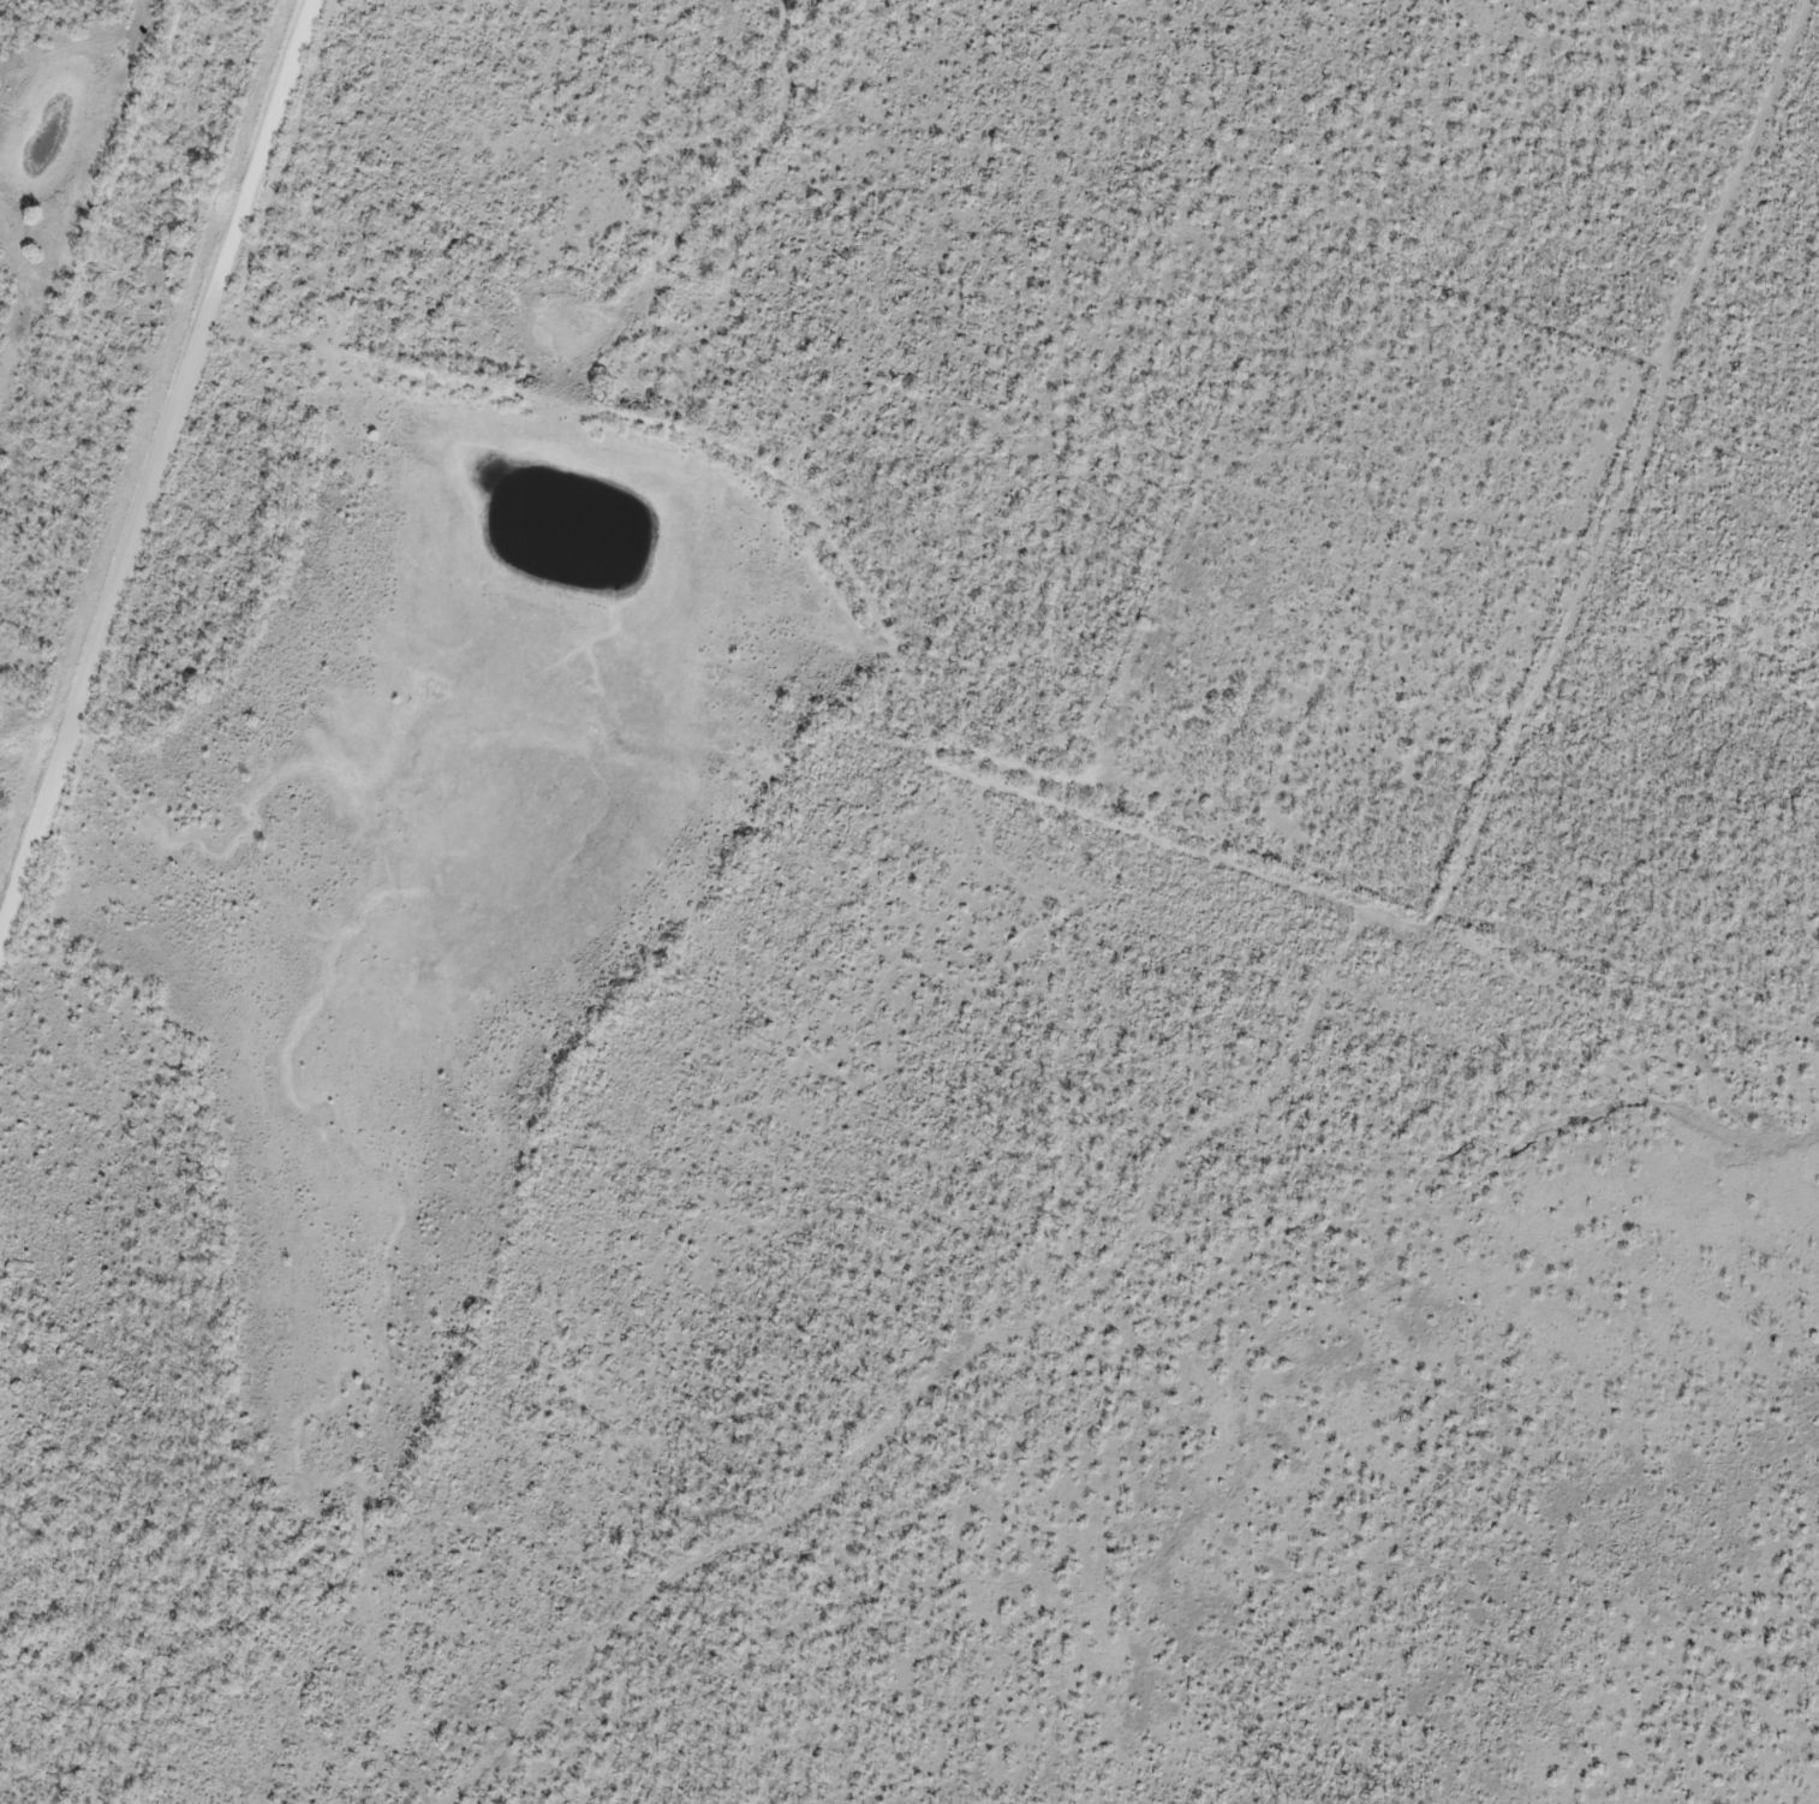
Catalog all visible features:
road: (153, 460)

